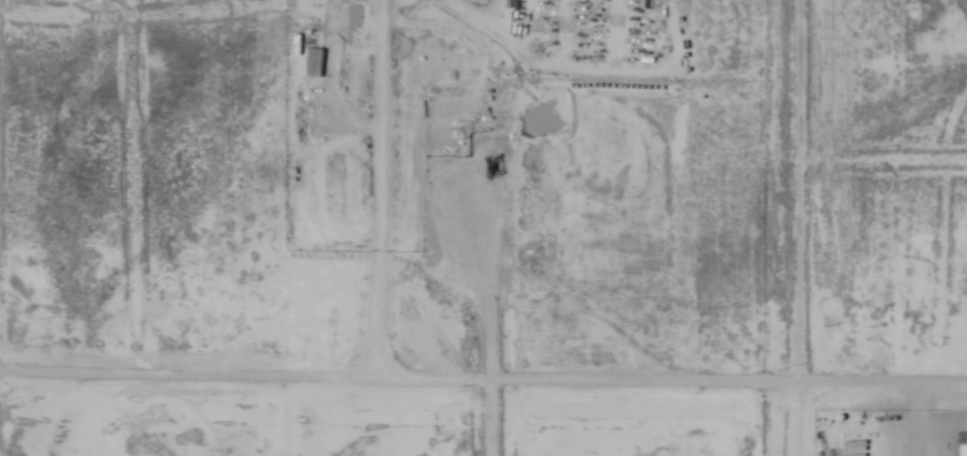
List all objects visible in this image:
road: (882, 164)
road: (386, 205)
road: (793, 228)
road: (483, 384)
road: (497, 420)
road: (916, 423)

